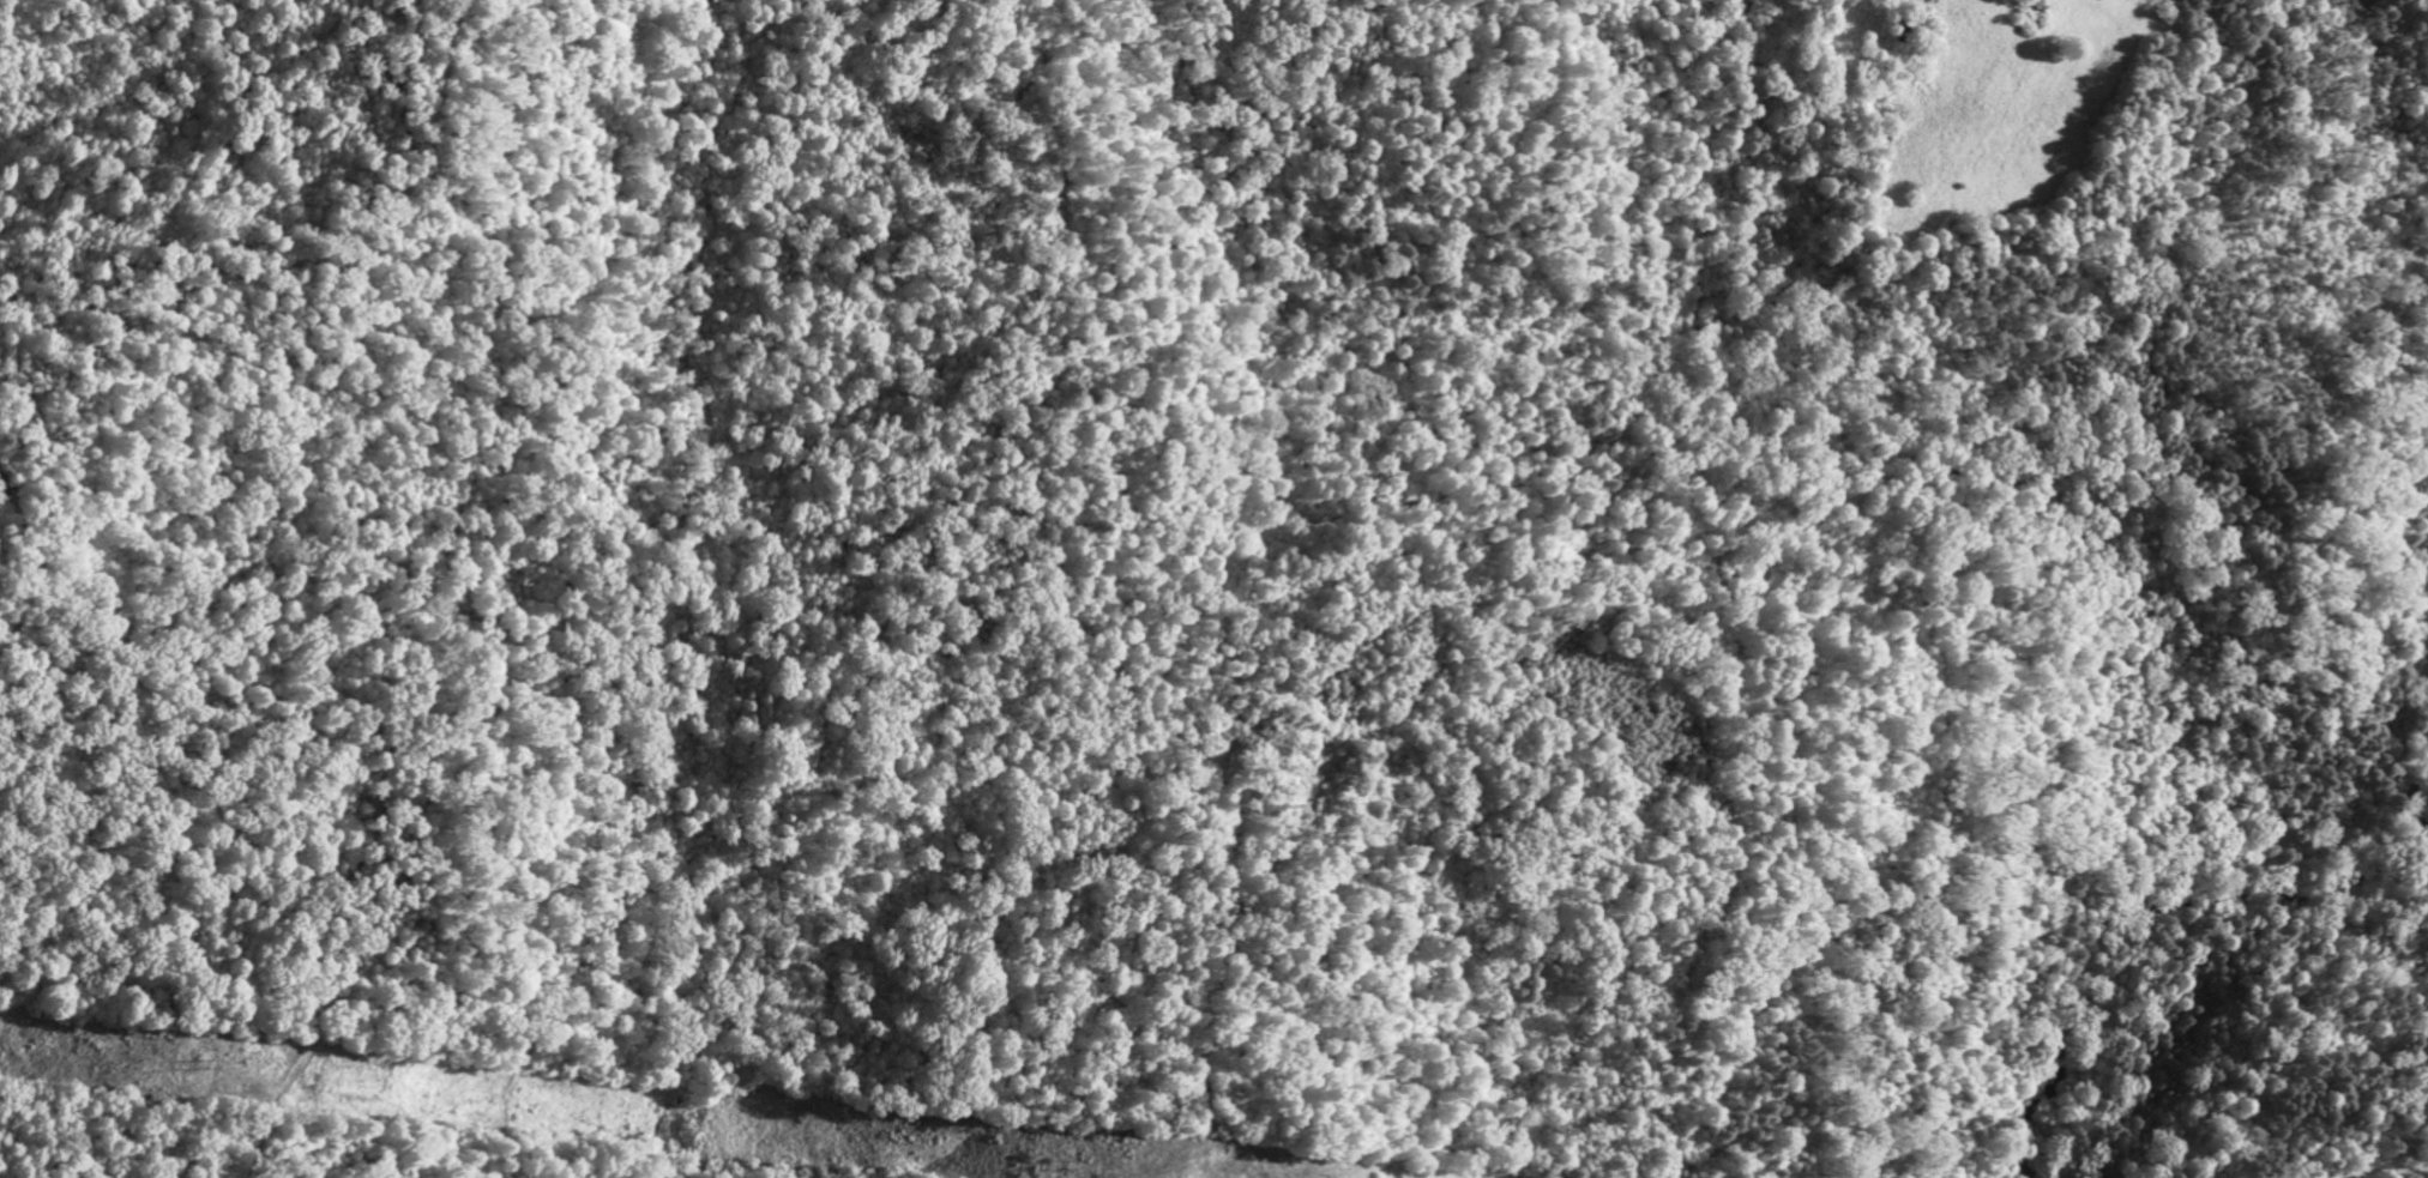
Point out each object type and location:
power tower: (204, 1064)

